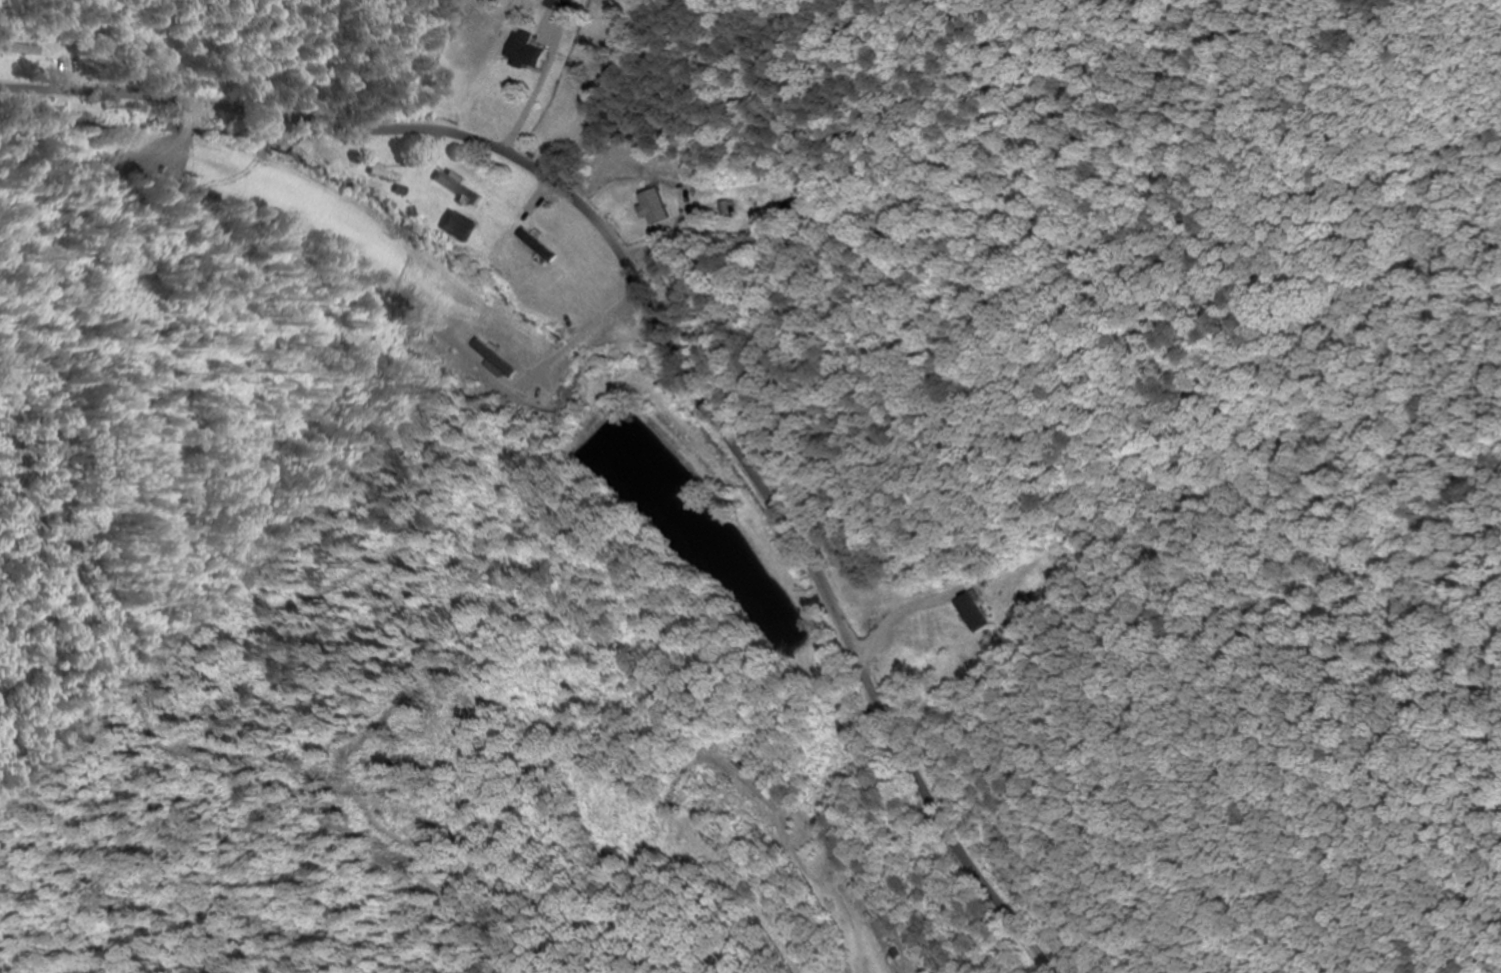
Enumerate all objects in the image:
building: (23, 50)
building: (523, 50)
building: (383, 174)
building: (456, 187)
building: (652, 206)
building: (724, 208)
building: (459, 227)
building: (538, 246)
road: (657, 334)
building: (971, 613)

